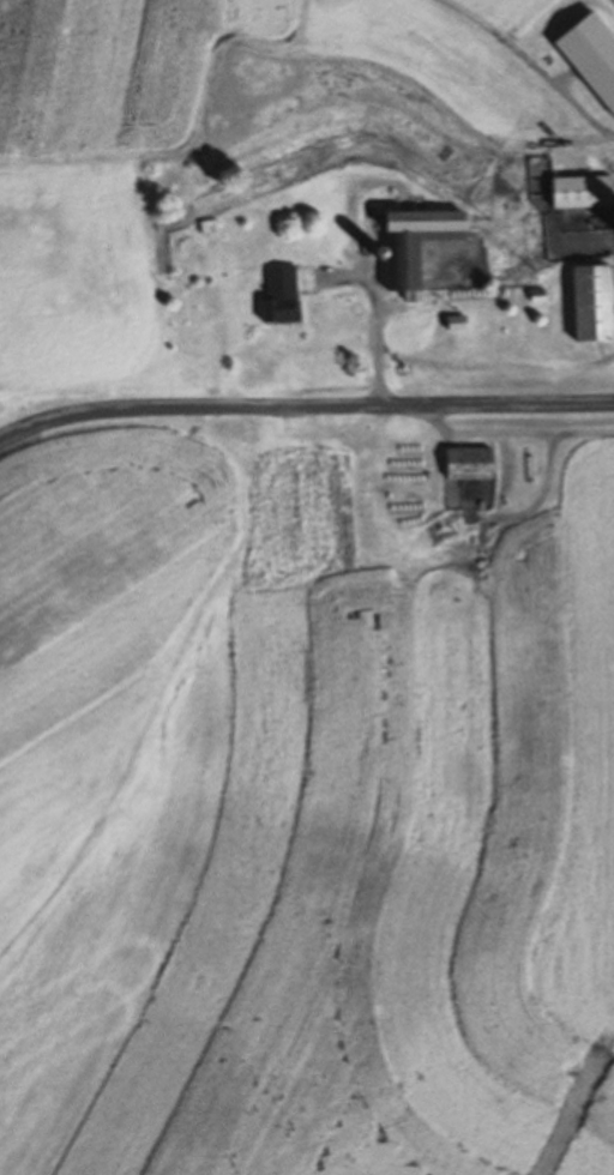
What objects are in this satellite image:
building: (584, 192)
building: (211, 228)
building: (419, 246)
building: (282, 295)
building: (595, 303)
road: (303, 394)
building: (470, 464)

